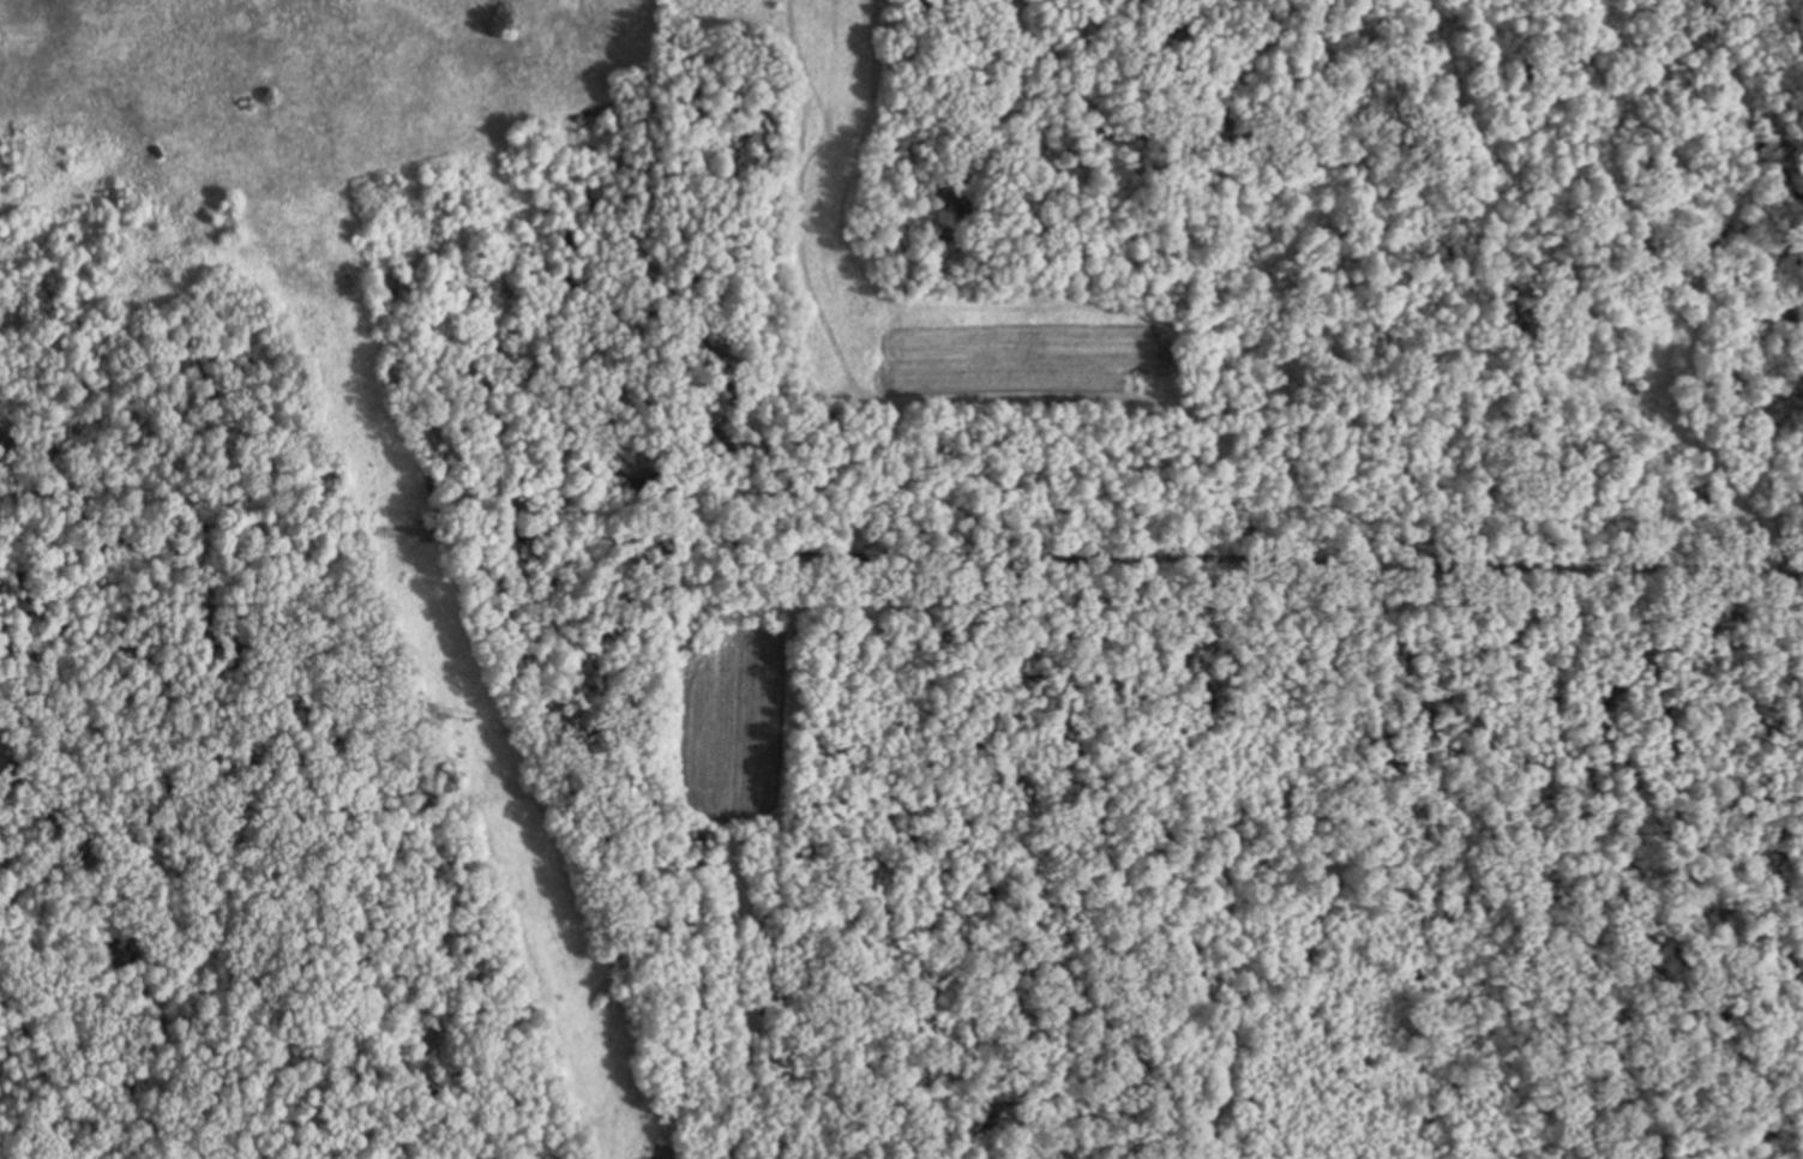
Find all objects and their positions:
road: (1797, 582)
power tower: (468, 715)

